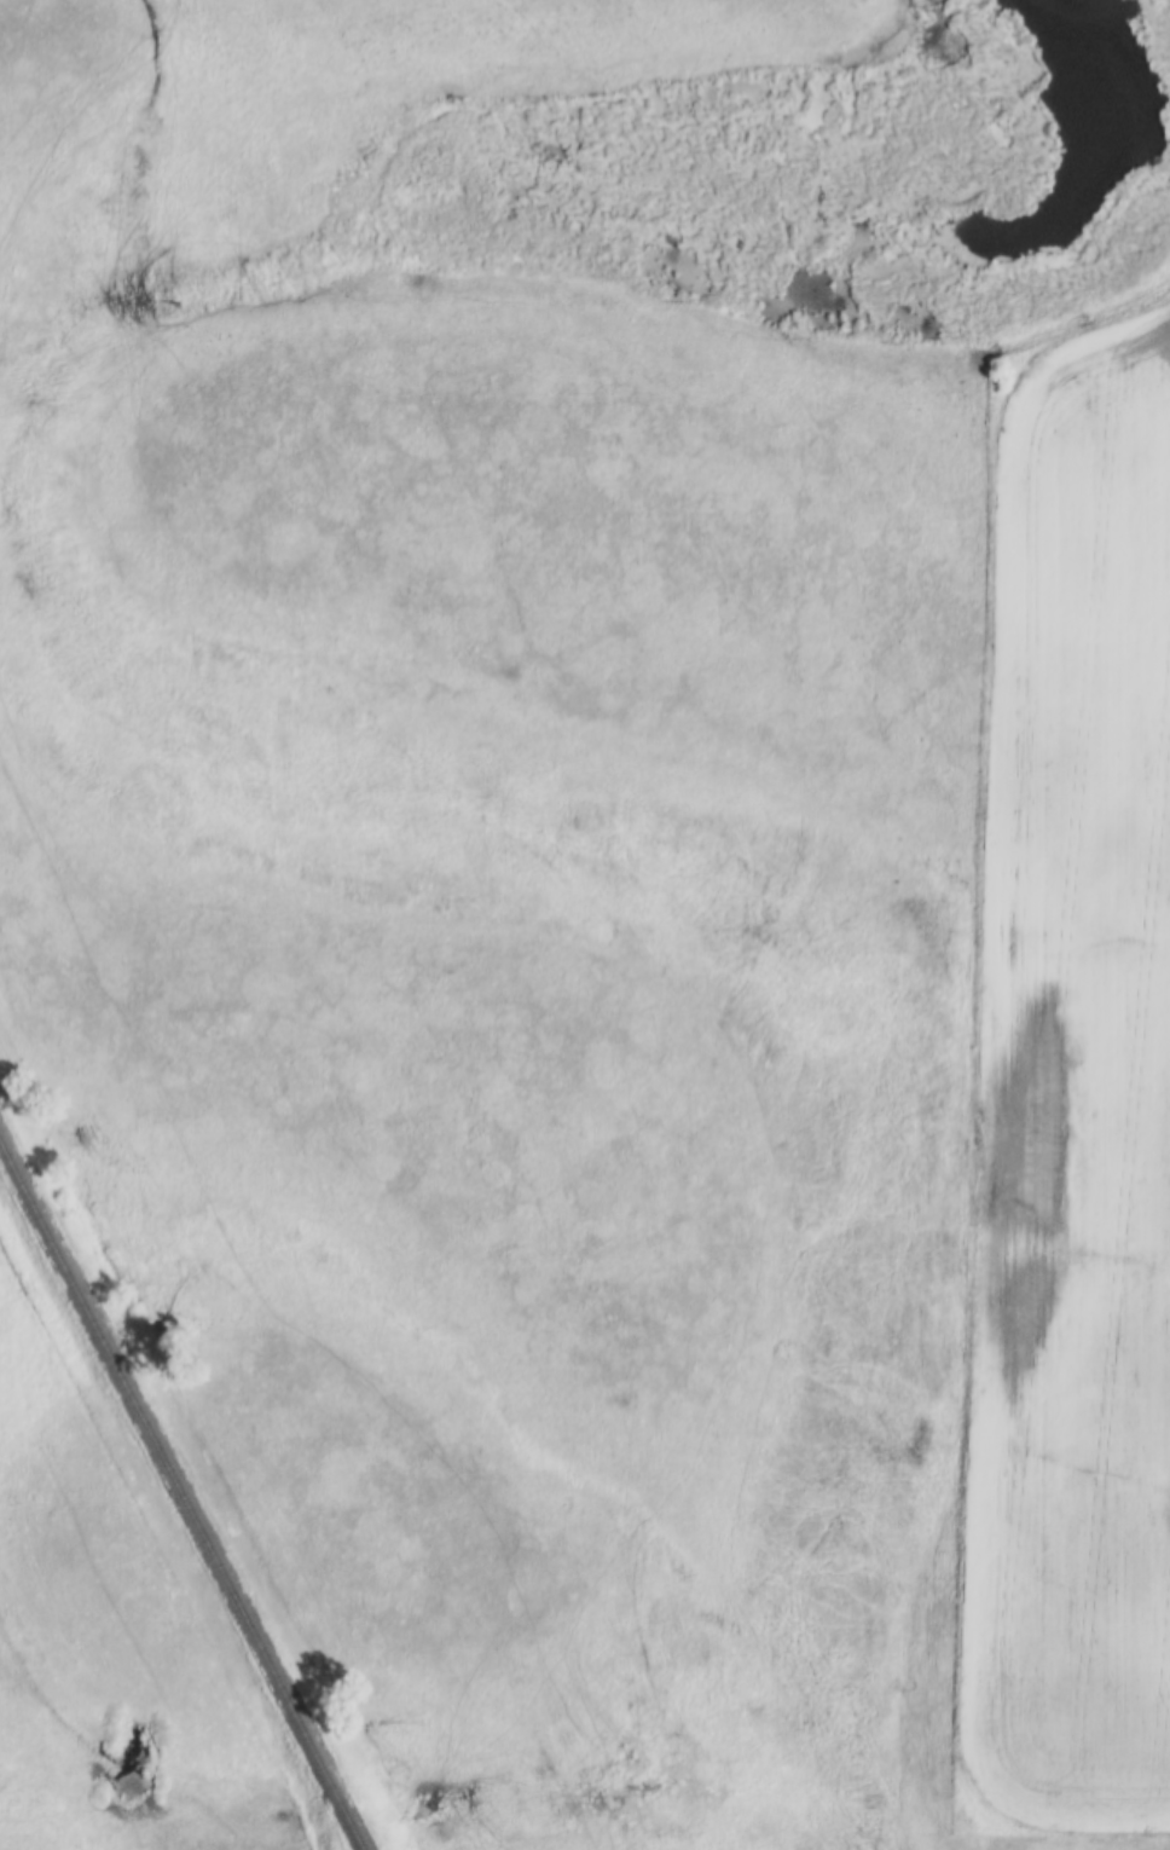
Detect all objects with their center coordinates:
railway: (181, 1495)

